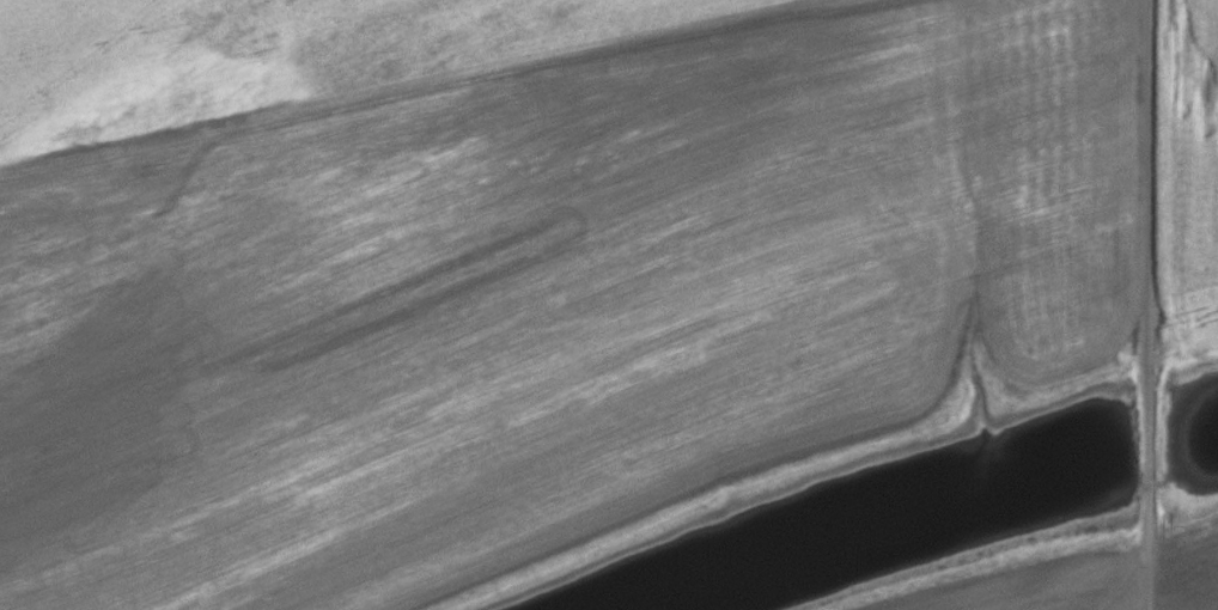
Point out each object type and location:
road: (1152, 305)

